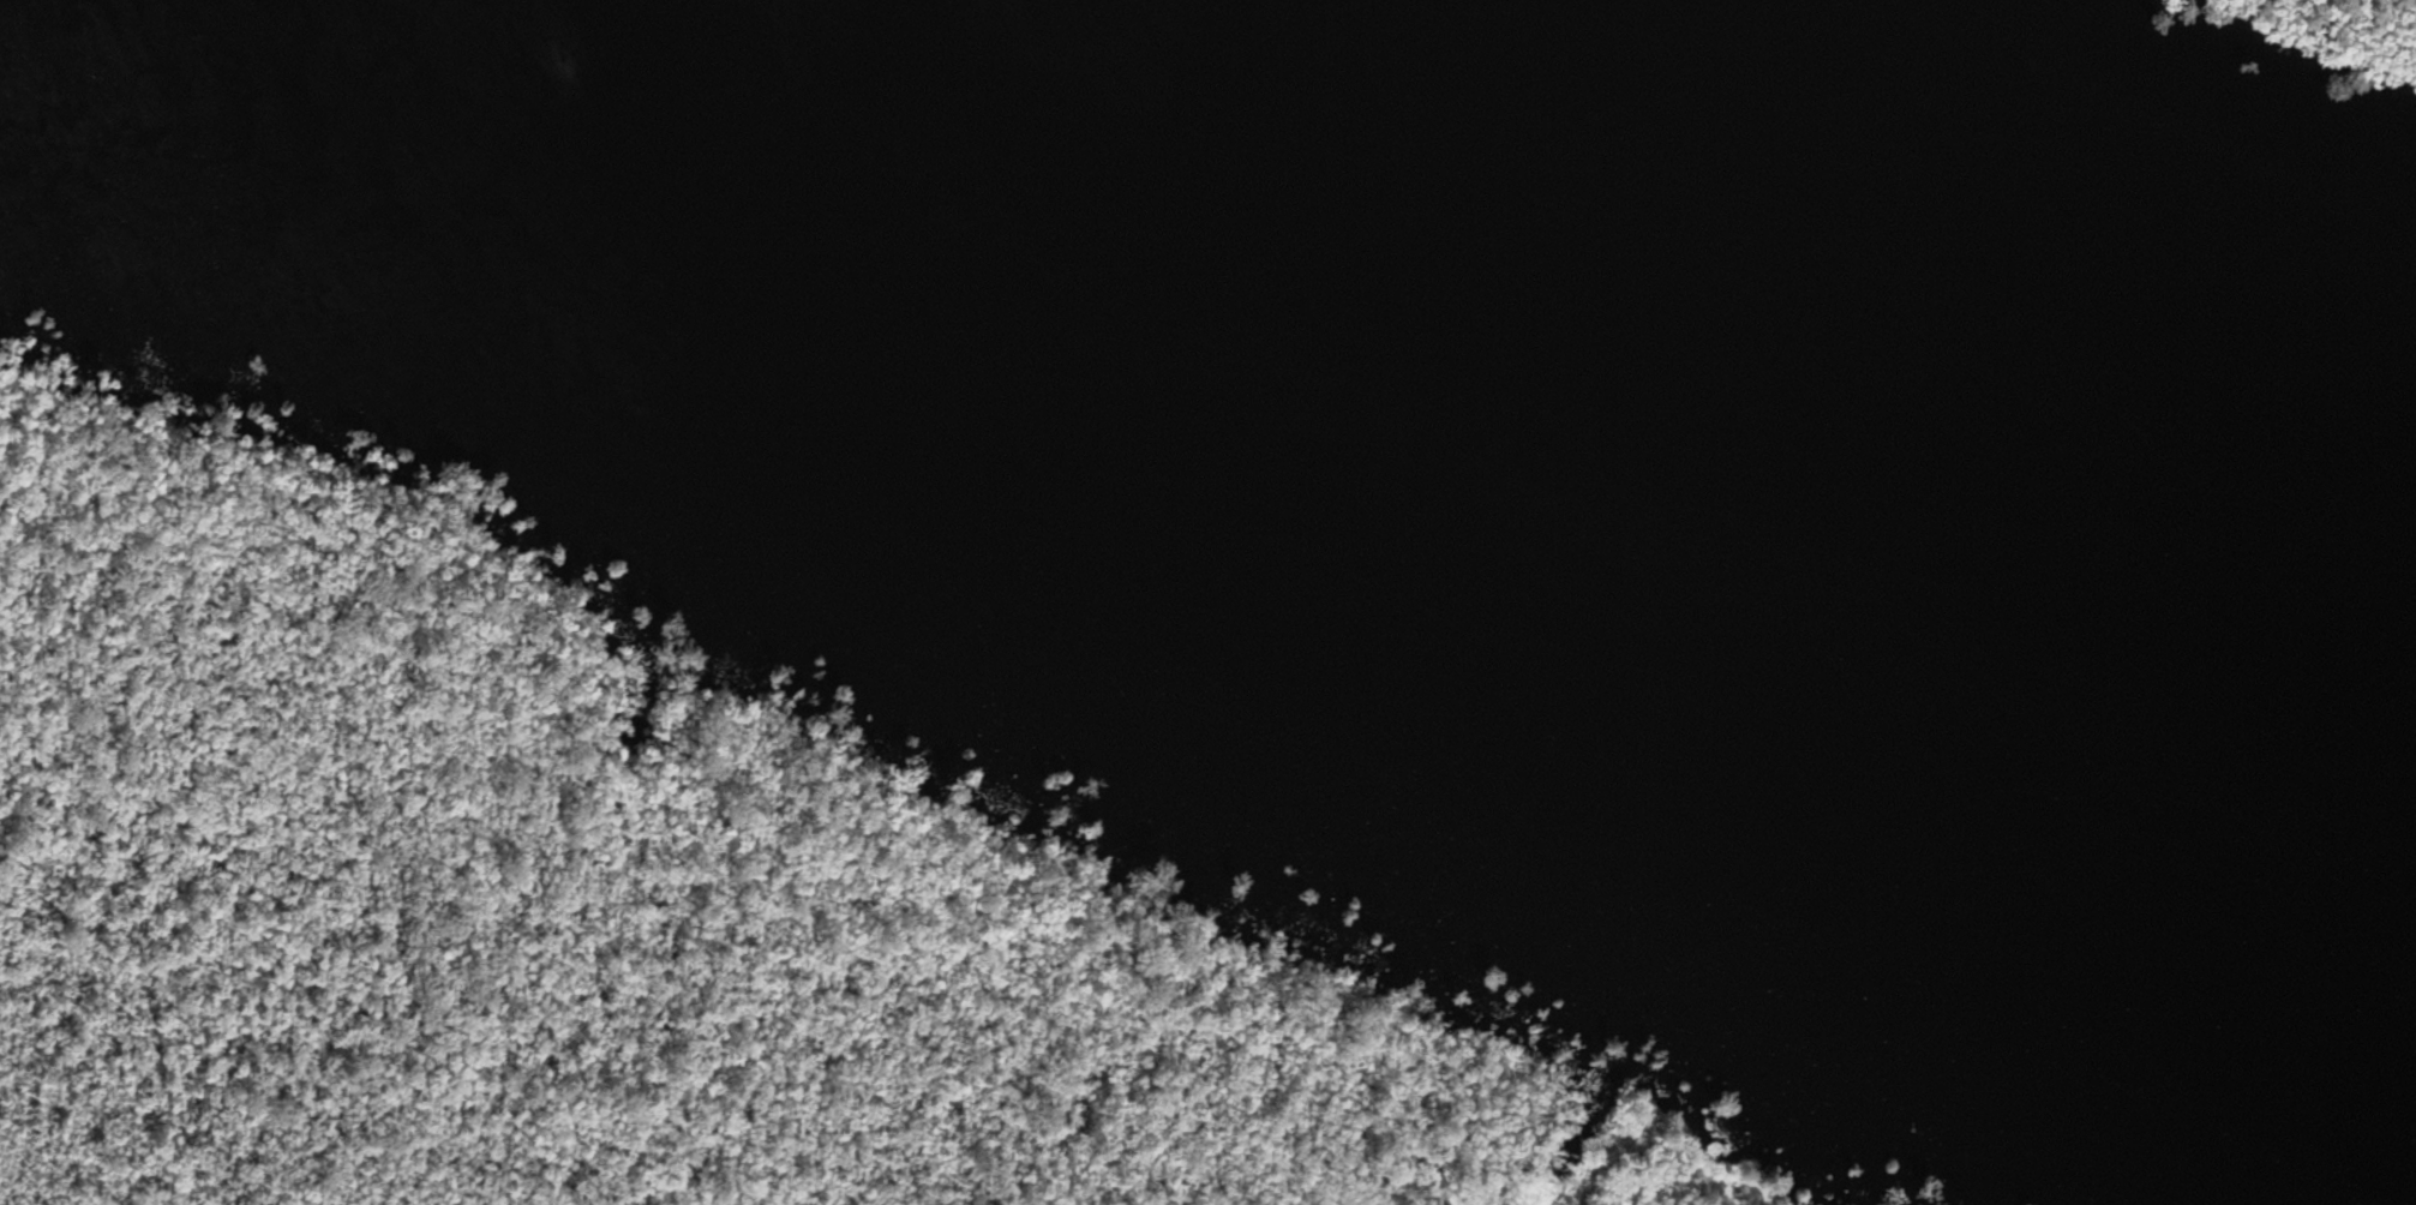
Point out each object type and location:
river: (1008, 126)
river: (1830, 473)

